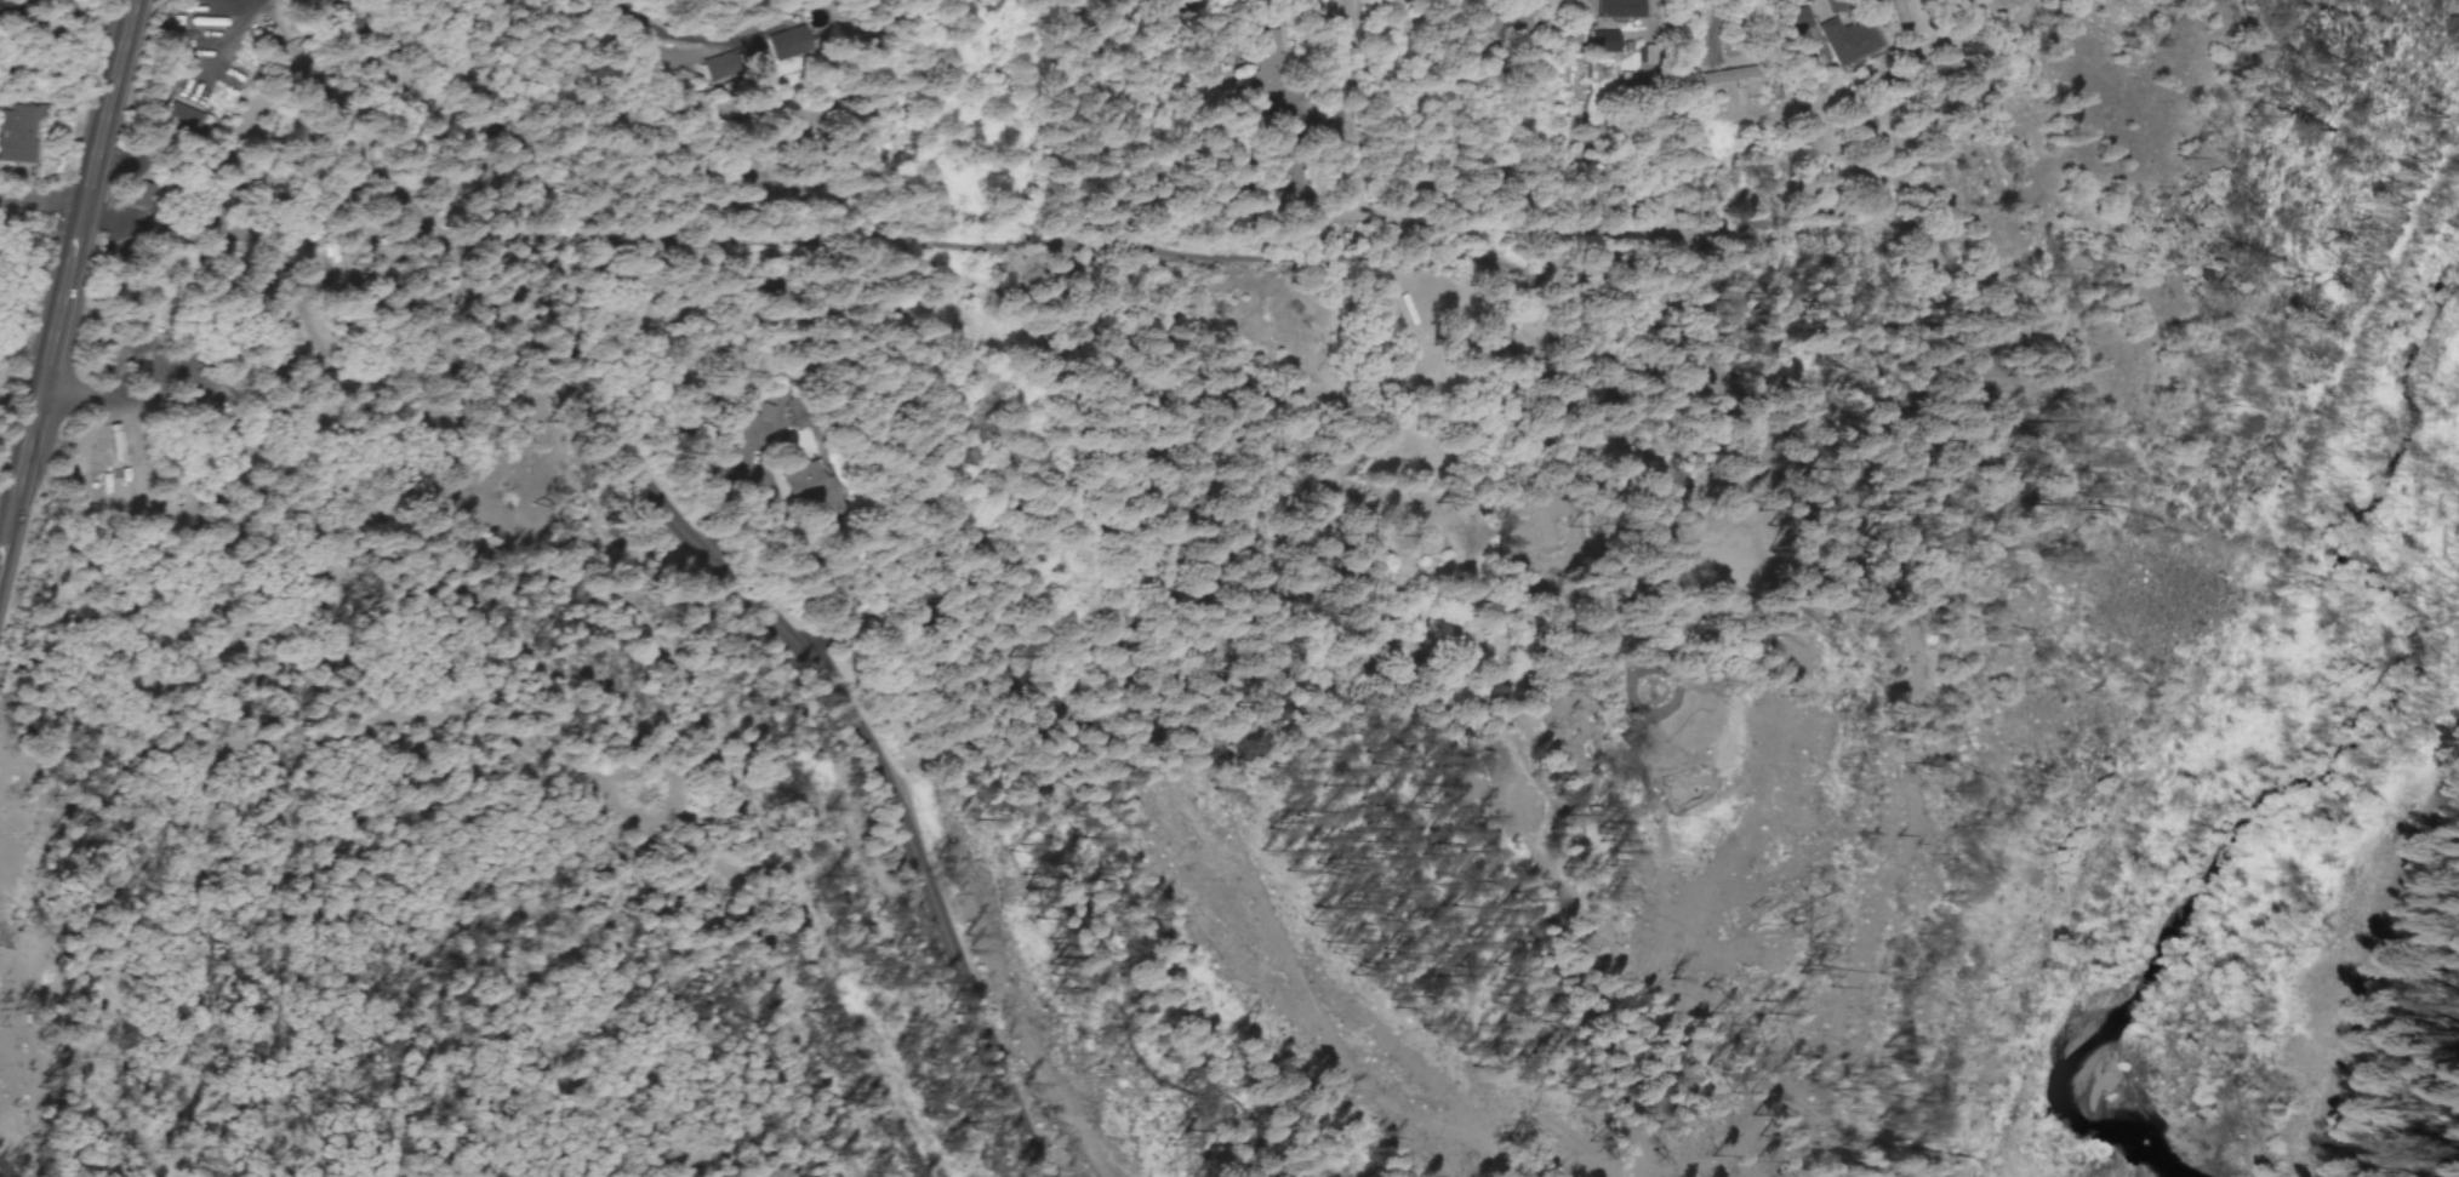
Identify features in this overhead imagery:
building: (1288, 0)
building: (1620, 11)
building: (1798, 22)
building: (1489, 24)
building: (1848, 41)
building: (1605, 44)
building: (782, 47)
building: (1633, 56)
building: (1265, 63)
building: (1728, 78)
road: (844, 110)
road: (1359, 115)
building: (182, 118)
road: (685, 121)
building: (17, 136)
road: (44, 205)
road: (1559, 248)
road: (68, 291)
road: (308, 375)
road: (82, 378)
road: (713, 470)
road: (7, 519)
road: (718, 560)

